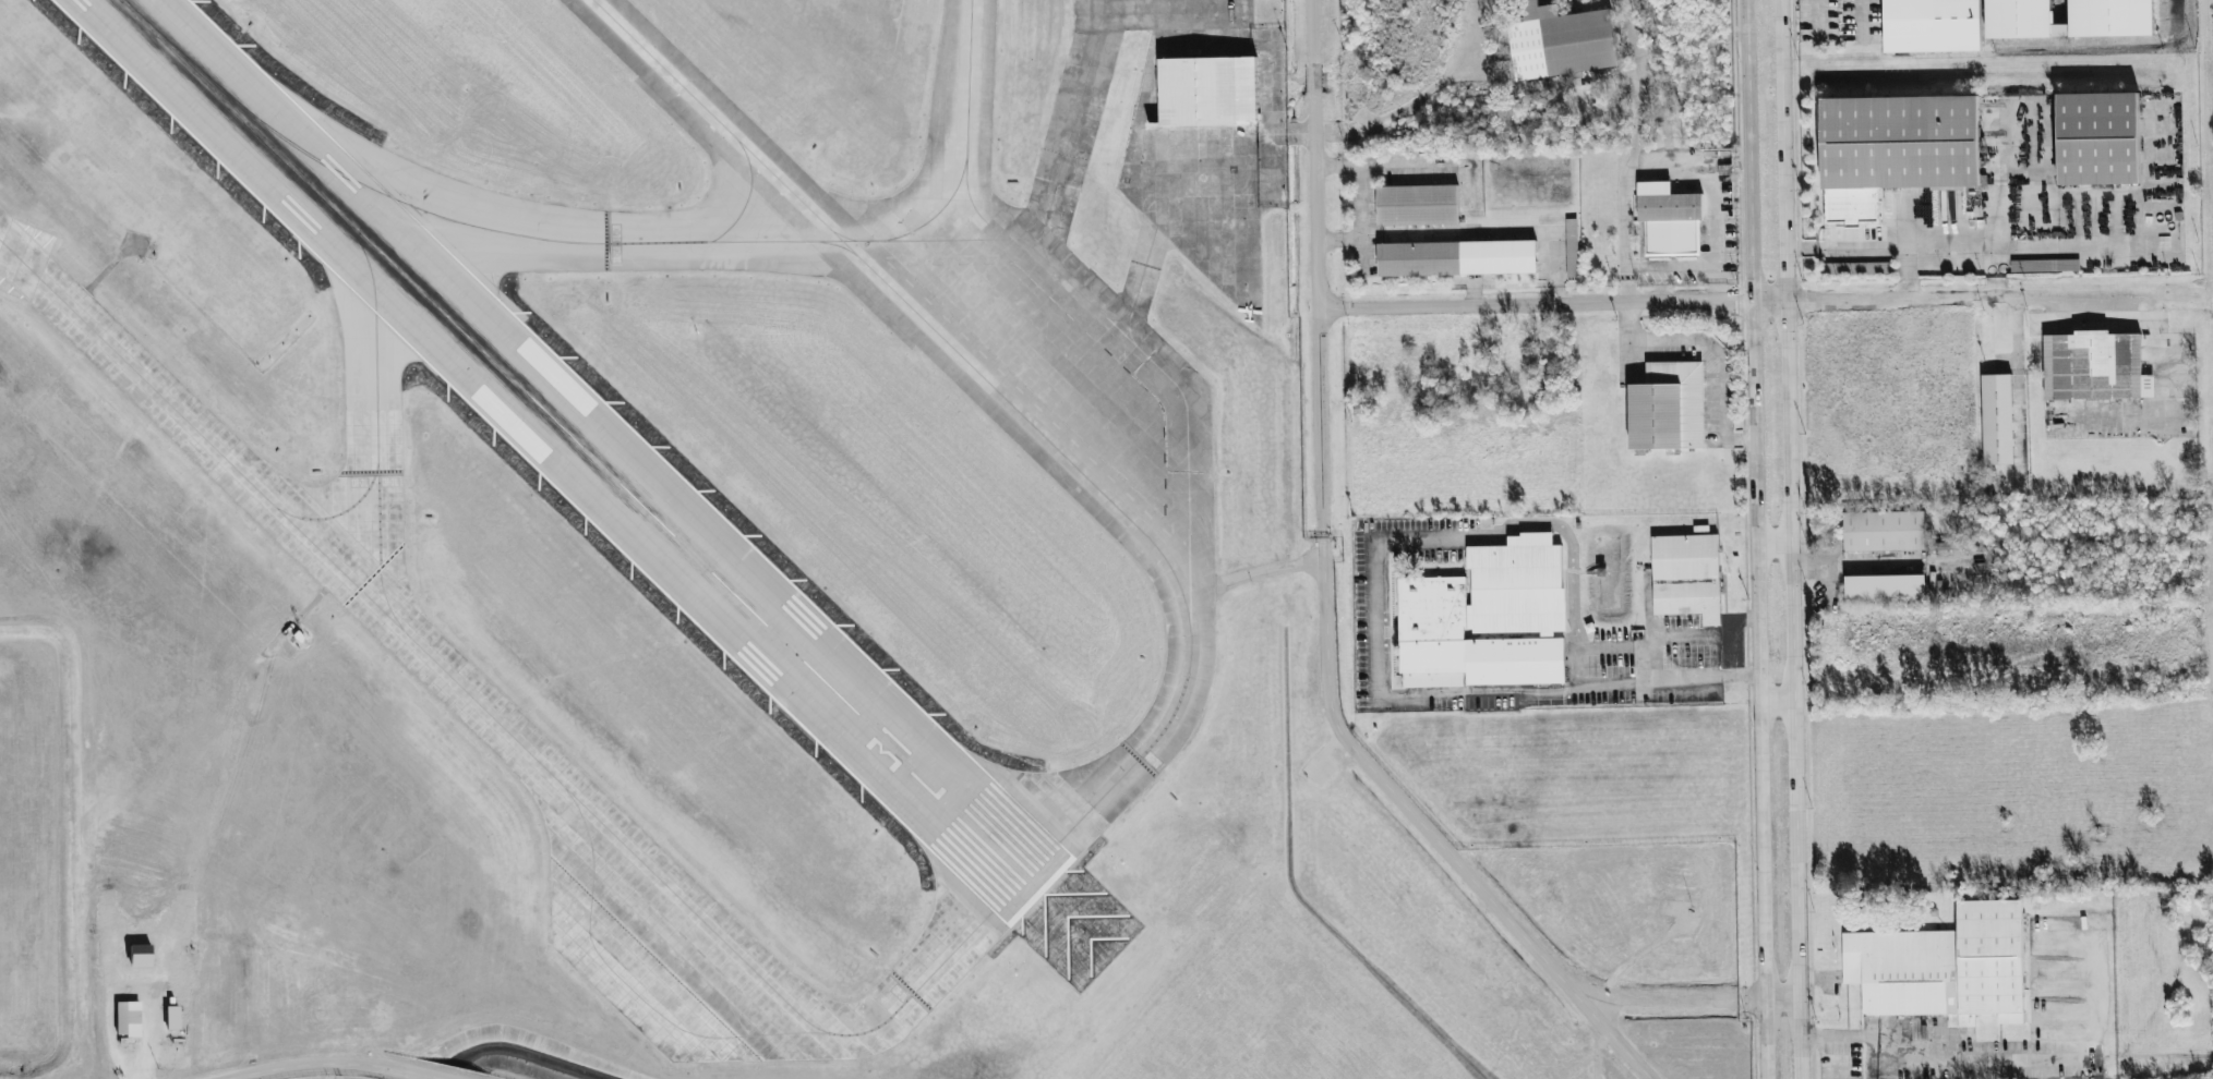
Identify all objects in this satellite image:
road: (1820, 15)
road: (1861, 15)
building: (2069, 19)
building: (1933, 27)
building: (1567, 44)
road: (1468, 81)
building: (1205, 97)
road: (1662, 114)
airport apron: (1198, 137)
building: (2098, 138)
airport taxiway: (966, 145)
airport taxiway: (1066, 146)
road: (1632, 151)
building: (1897, 154)
road: (1384, 166)
road: (1716, 195)
airport taxiway: (748, 198)
road: (1997, 204)
building: (1416, 205)
airport taxiway: (938, 211)
road: (1357, 223)
building: (1672, 225)
road: (1466, 233)
airport taxiway: (843, 234)
airport taxiway: (904, 239)
airport taxiway: (618, 242)
road: (1336, 242)
airport taxiway: (834, 244)
building: (1572, 248)
road: (1877, 250)
building: (1419, 259)
building: (2045, 266)
road: (1315, 268)
building: (1857, 268)
road: (1969, 303)
airport taxiway: (1093, 304)
road: (1555, 307)
road: (1710, 362)
airport apron: (1091, 368)
building: (2093, 371)
road: (2018, 388)
airport taxiway: (1001, 393)
building: (1669, 411)
building: (1996, 425)
airport runway: (581, 446)
airport taxiway: (1187, 471)
airport taxiway: (378, 475)
airport taxiway: (341, 512)
building: (1888, 536)
road: (1758, 538)
road: (1797, 539)
road: (1779, 545)
airport: (724, 566)
road: (1573, 569)
road: (1254, 572)
building: (1687, 580)
building: (1516, 585)
parking lot: (1372, 593)
building: (1884, 593)
building: (1432, 608)
road: (1325, 626)
road: (1733, 634)
road: (1691, 638)
road: (1379, 644)
road: (1605, 683)
building: (1491, 703)
airport taxiway: (524, 748)
road: (1504, 916)
building: (140, 955)
road: (151, 956)
building: (1945, 971)
road: (1821, 979)
airport taxiway: (629, 985)
road: (1749, 1001)
road: (1787, 1001)
building: (172, 1017)
building: (128, 1018)
road: (1615, 1041)
road: (1955, 1047)
road: (1596, 1053)
road: (304, 1064)
road: (411, 1072)

